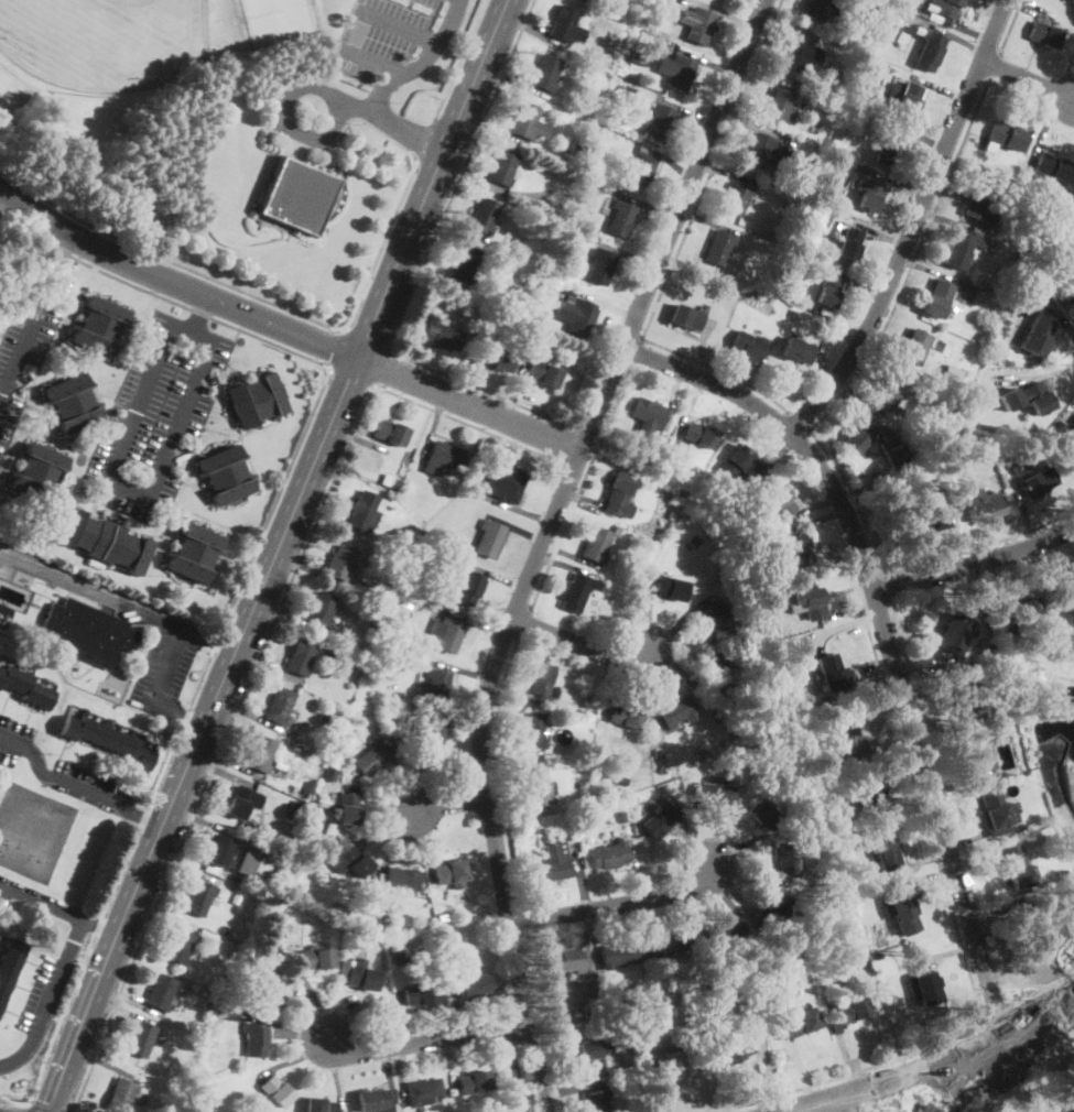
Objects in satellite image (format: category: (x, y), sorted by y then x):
building: (1072, 0)
building: (664, 1)
building: (944, 7)
building: (815, 9)
park: (296, 17)
park: (262, 21)
building: (696, 24)
road: (400, 25)
building: (565, 25)
road: (1010, 28)
building: (890, 31)
building: (1043, 35)
building: (641, 36)
parking lot: (399, 39)
park: (106, 41)
building: (927, 52)
building: (800, 53)
building: (638, 58)
road: (376, 61)
road: (419, 61)
road: (460, 61)
building: (605, 62)
building: (850, 66)
road: (994, 67)
building: (545, 73)
building: (677, 73)
building: (845, 76)
road: (1027, 79)
building: (854, 90)
building: (626, 91)
building: (909, 99)
road: (282, 103)
building: (780, 105)
building: (827, 106)
building: (848, 108)
building: (586, 109)
building: (660, 121)
building: (527, 122)
park: (231, 128)
road: (408, 131)
building: (1002, 137)
road: (426, 141)
building: (890, 148)
building: (577, 149)
building: (757, 150)
building: (781, 159)
building: (593, 160)
building: (501, 167)
building: (640, 167)
building: (856, 167)
building: (1052, 167)
road: (713, 168)
road: (459, 176)
road: (433, 178)
building: (566, 182)
building: (586, 185)
building: (868, 194)
road: (1, 195)
building: (297, 196)
building: (738, 196)
building: (557, 200)
building: (578, 200)
building: (977, 201)
building: (1042, 203)
building: (484, 217)
building: (619, 218)
building: (825, 220)
road: (913, 225)
building: (981, 233)
building: (850, 243)
building: (718, 247)
building: (959, 249)
road: (58, 252)
building: (1022, 253)
road: (912, 264)
building: (464, 265)
building: (600, 265)
building: (783, 274)
building: (543, 276)
road: (175, 280)
building: (1068, 283)
building: (1030, 287)
building: (828, 291)
building: (714, 292)
road: (252, 294)
road: (161, 296)
building: (936, 298)
road: (200, 312)
building: (573, 314)
building: (793, 315)
building: (685, 317)
building: (98, 326)
road: (25, 335)
building: (441, 335)
building: (536, 336)
building: (986, 336)
building: (1032, 336)
road: (213, 337)
road: (368, 337)
parking lot: (28, 341)
building: (749, 345)
building: (914, 346)
road: (335, 348)
building: (796, 350)
road: (637, 351)
building: (499, 357)
building: (999, 359)
road: (380, 369)
road: (719, 370)
building: (543, 373)
road: (351, 374)
building: (927, 374)
building: (951, 374)
road: (480, 389)
building: (888, 390)
building: (1028, 399)
building: (256, 400)
building: (963, 401)
building: (72, 404)
road: (468, 405)
building: (958, 407)
parking lot: (158, 414)
building: (647, 415)
road: (801, 422)
road: (467, 424)
building: (1059, 426)
building: (390, 433)
road: (587, 433)
building: (698, 434)
building: (856, 435)
road: (566, 445)
building: (1072, 445)
building: (443, 457)
building: (897, 457)
building: (644, 458)
building: (950, 462)
building: (737, 466)
road: (573, 468)
building: (37, 473)
building: (225, 475)
building: (1033, 478)
building: (389, 482)
building: (505, 482)
building: (675, 484)
building: (470, 486)
road: (581, 488)
road: (564, 492)
building: (618, 492)
road: (857, 498)
building: (780, 501)
building: (979, 504)
building: (766, 508)
building: (364, 511)
building: (670, 515)
building: (926, 521)
building: (616, 528)
building: (443, 535)
building: (488, 538)
building: (104, 542)
building: (693, 542)
building: (596, 544)
road: (980, 545)
building: (798, 549)
building: (194, 553)
building: (406, 556)
building: (340, 563)
road: (974, 564)
building: (469, 587)
building: (600, 587)
building: (51, 588)
building: (669, 588)
building: (575, 591)
building: (380, 598)
road: (118, 600)
building: (810, 601)
building: (321, 610)
building: (1020, 613)
building: (712, 619)
road: (523, 623)
building: (392, 628)
building: (955, 630)
building: (88, 633)
building: (445, 634)
building: (736, 634)
road: (885, 637)
road: (576, 642)
building: (391, 648)
building: (382, 650)
building: (990, 652)
building: (300, 657)
parking lot: (167, 664)
road: (167, 665)
building: (714, 672)
building: (831, 674)
building: (541, 679)
building: (436, 686)
building: (25, 687)
building: (962, 697)
building: (588, 702)
building: (280, 706)
building: (675, 710)
road: (178, 713)
building: (323, 715)
building: (625, 716)
building: (985, 726)
building: (532, 730)
road: (177, 733)
road: (200, 733)
building: (430, 737)
building: (847, 737)
building: (398, 738)
building: (108, 740)
road: (223, 748)
building: (658, 751)
building: (977, 752)
building: (260, 754)
building: (737, 754)
building: (745, 757)
building: (370, 759)
parking lot: (63, 770)
road: (498, 770)
building: (662, 770)
building: (328, 774)
road: (59, 778)
building: (621, 781)
building: (577, 784)
building: (307, 786)
building: (535, 786)
building: (714, 794)
building: (869, 796)
building: (238, 803)
road: (448, 804)
building: (296, 806)
building: (347, 808)
building: (758, 813)
road: (148, 814)
building: (617, 814)
building: (997, 814)
building: (660, 819)
building: (541, 827)
park: (33, 830)
building: (554, 836)
building: (219, 851)
building: (578, 851)
building: (885, 851)
building: (607, 855)
building: (784, 858)
building: (355, 861)
building: (252, 862)
building: (552, 864)
building: (1017, 866)
building: (1064, 871)
building: (449, 872)
building: (398, 880)
building: (253, 882)
road: (10, 886)
parking lot: (8, 892)
building: (1064, 894)
building: (199, 897)
building: (794, 904)
road: (614, 906)
building: (237, 908)
building: (903, 909)
road: (68, 911)
building: (773, 911)
building: (271, 913)
building: (380, 913)
building: (443, 917)
building: (357, 918)
road: (524, 920)
building: (1044, 925)
building: (352, 929)
building: (719, 931)
building: (449, 935)
building: (670, 942)
building: (181, 946)
road: (963, 948)
building: (781, 951)
building: (399, 952)
building: (618, 953)
building: (850, 955)
building: (879, 955)
building: (315, 958)
building: (566, 959)
building: (864, 960)
building: (9, 963)
building: (735, 974)
building: (361, 975)
building: (256, 984)
building: (471, 984)
building: (922, 988)
building: (268, 991)
building: (160, 992)
building: (420, 993)
parking lot: (44, 994)
road: (1043, 994)
building: (214, 996)
road: (50, 997)
building: (739, 997)
building: (688, 1012)
building: (848, 1013)
building: (595, 1015)
road: (997, 1016)
building: (795, 1023)
road: (543, 1024)
building: (140, 1038)
building: (254, 1038)
road: (430, 1039)
building: (735, 1048)
building: (598, 1051)
road: (512, 1057)
road: (539, 1058)
building: (674, 1059)
road: (937, 1066)
building: (164, 1067)
road: (972, 1072)
building: (473, 1082)
building: (275, 1090)
building: (424, 1092)
building: (120, 1094)
road: (15, 1099)
building: (372, 1100)
building: (595, 1101)
building: (160, 1103)
building: (317, 1105)
road: (29, 1108)
road: (44, 1108)
road: (799, 1111)
building: (1073, 1111)

